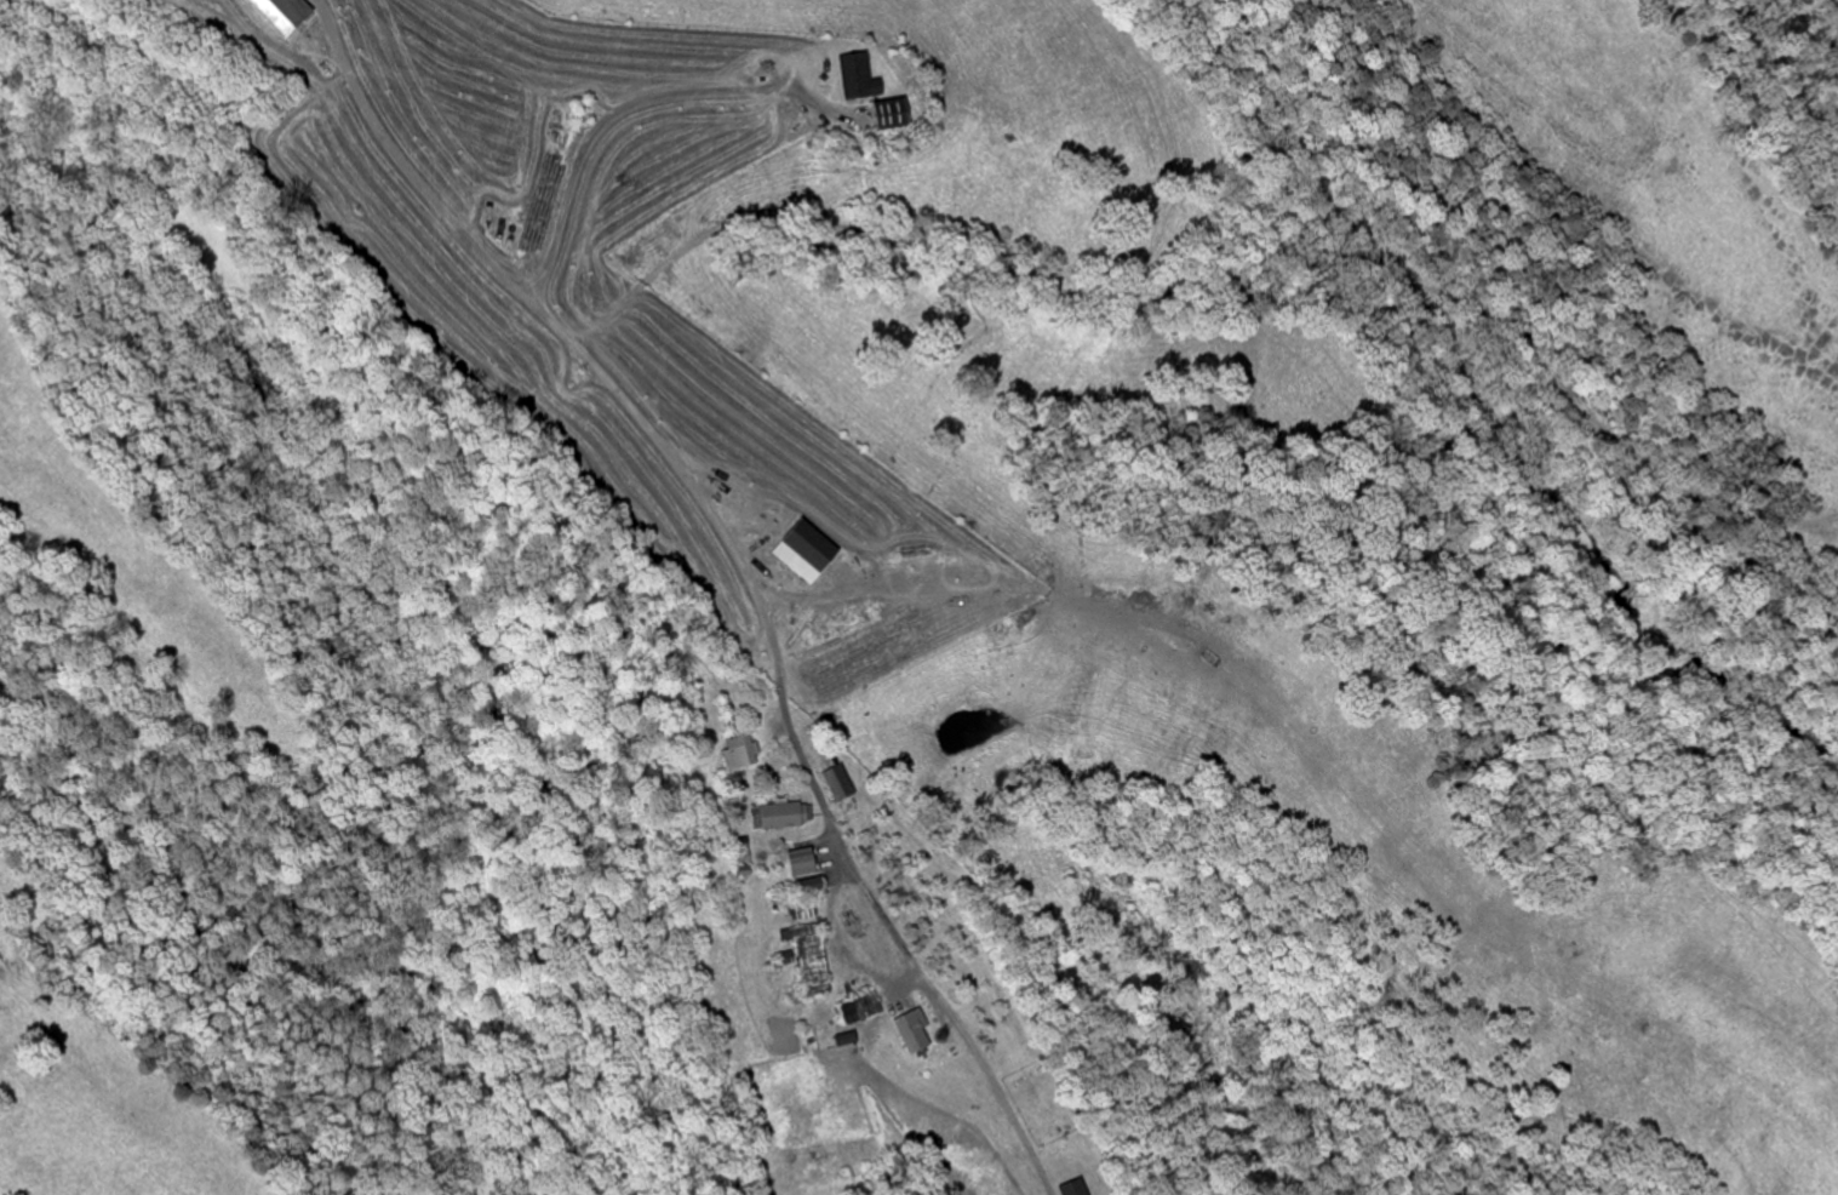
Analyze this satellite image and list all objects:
building: (290, 15)
building: (854, 76)
road: (640, 104)
building: (884, 112)
building: (798, 549)
road: (743, 561)
building: (738, 751)
building: (837, 782)
building: (777, 814)
building: (798, 863)
building: (803, 886)
building: (806, 959)
building: (909, 1031)
building: (1070, 1188)

